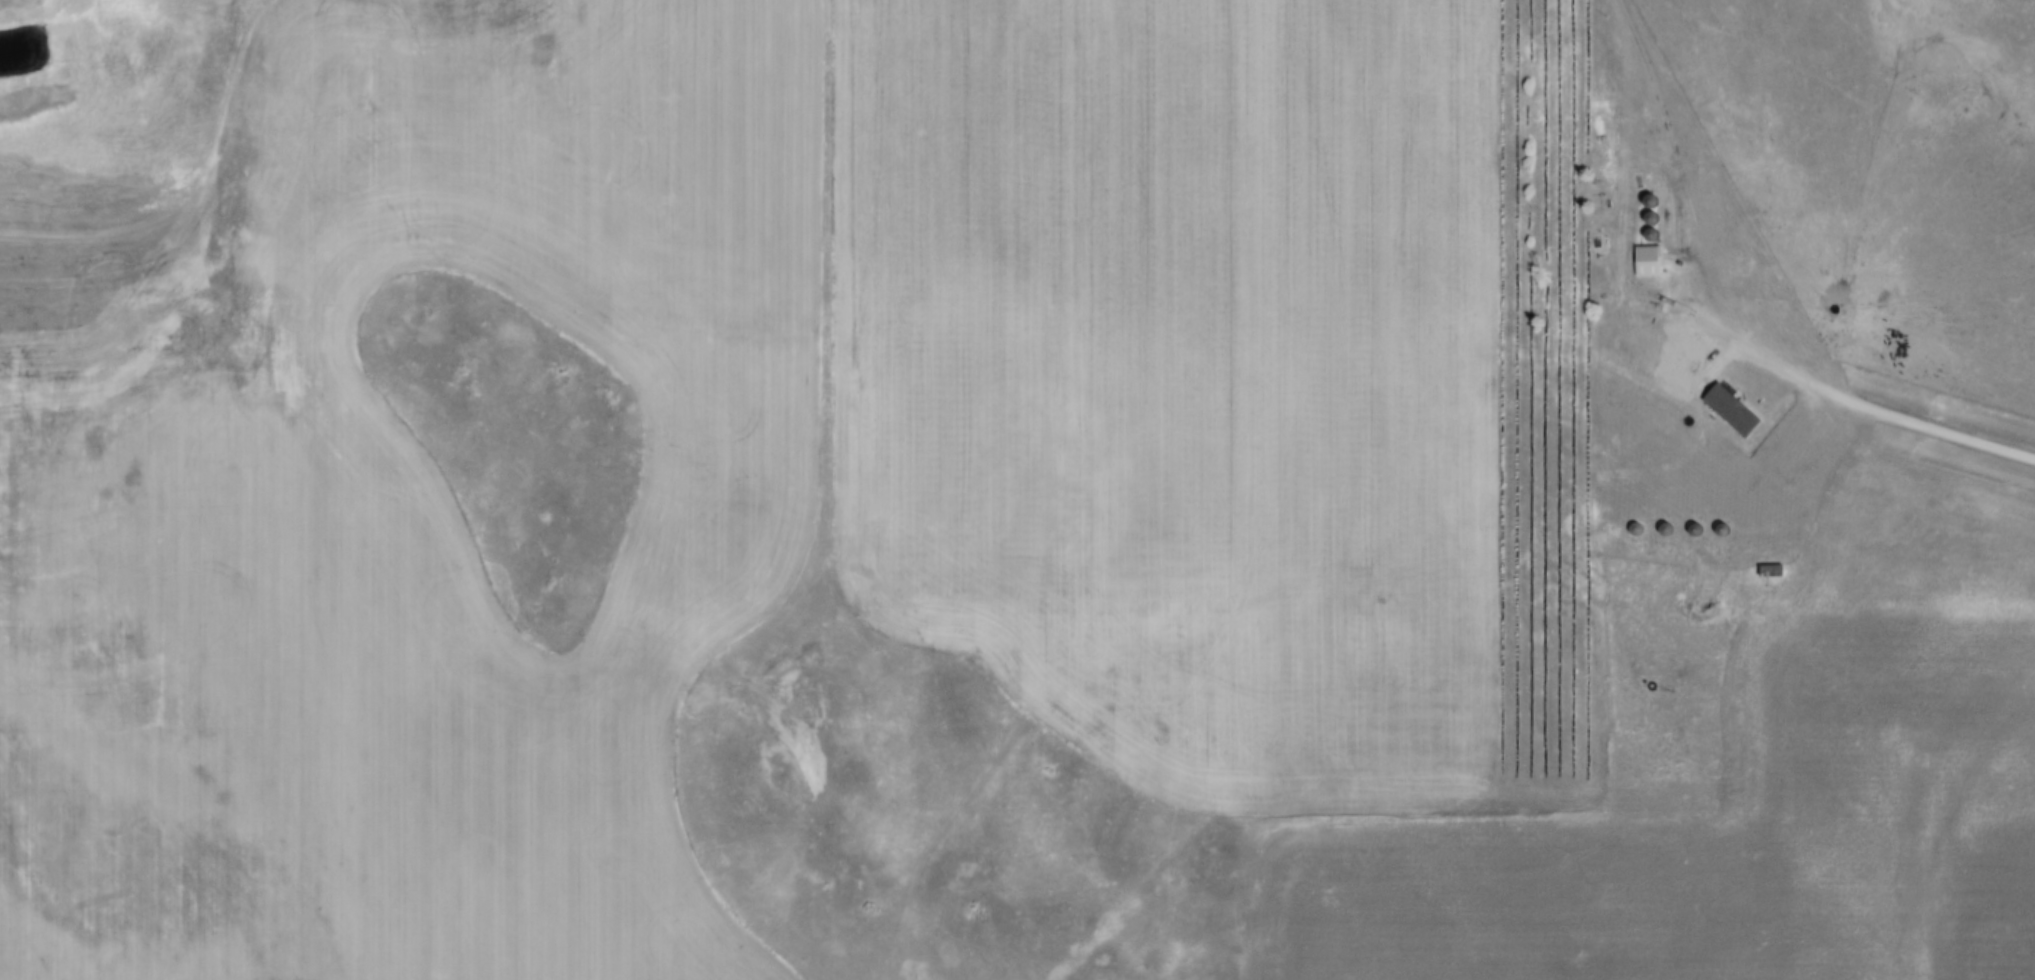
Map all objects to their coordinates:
road: (1660, 178)
building: (1650, 261)
building: (1801, 334)
road: (1885, 414)
building: (1666, 529)
building: (1724, 529)
building: (1773, 570)

